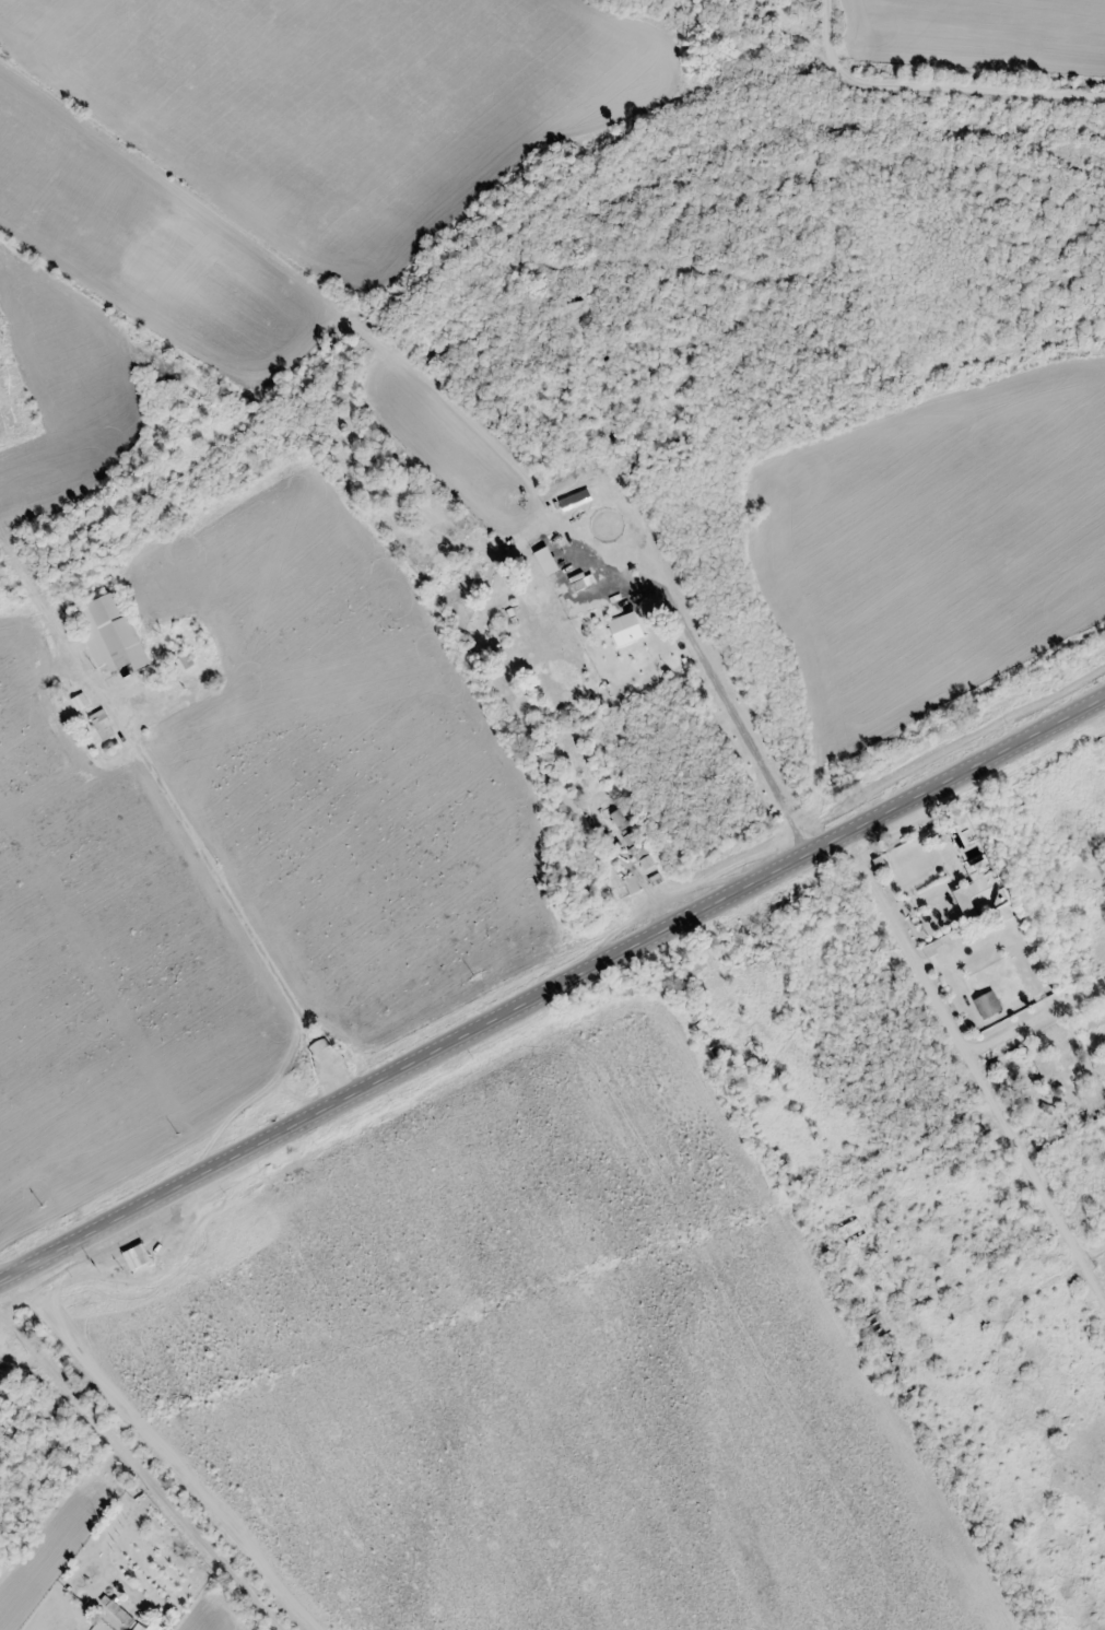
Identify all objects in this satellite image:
building: (108, 637)
road: (712, 670)
road: (176, 817)
road: (553, 987)
road: (976, 1062)
park: (12, 1410)

